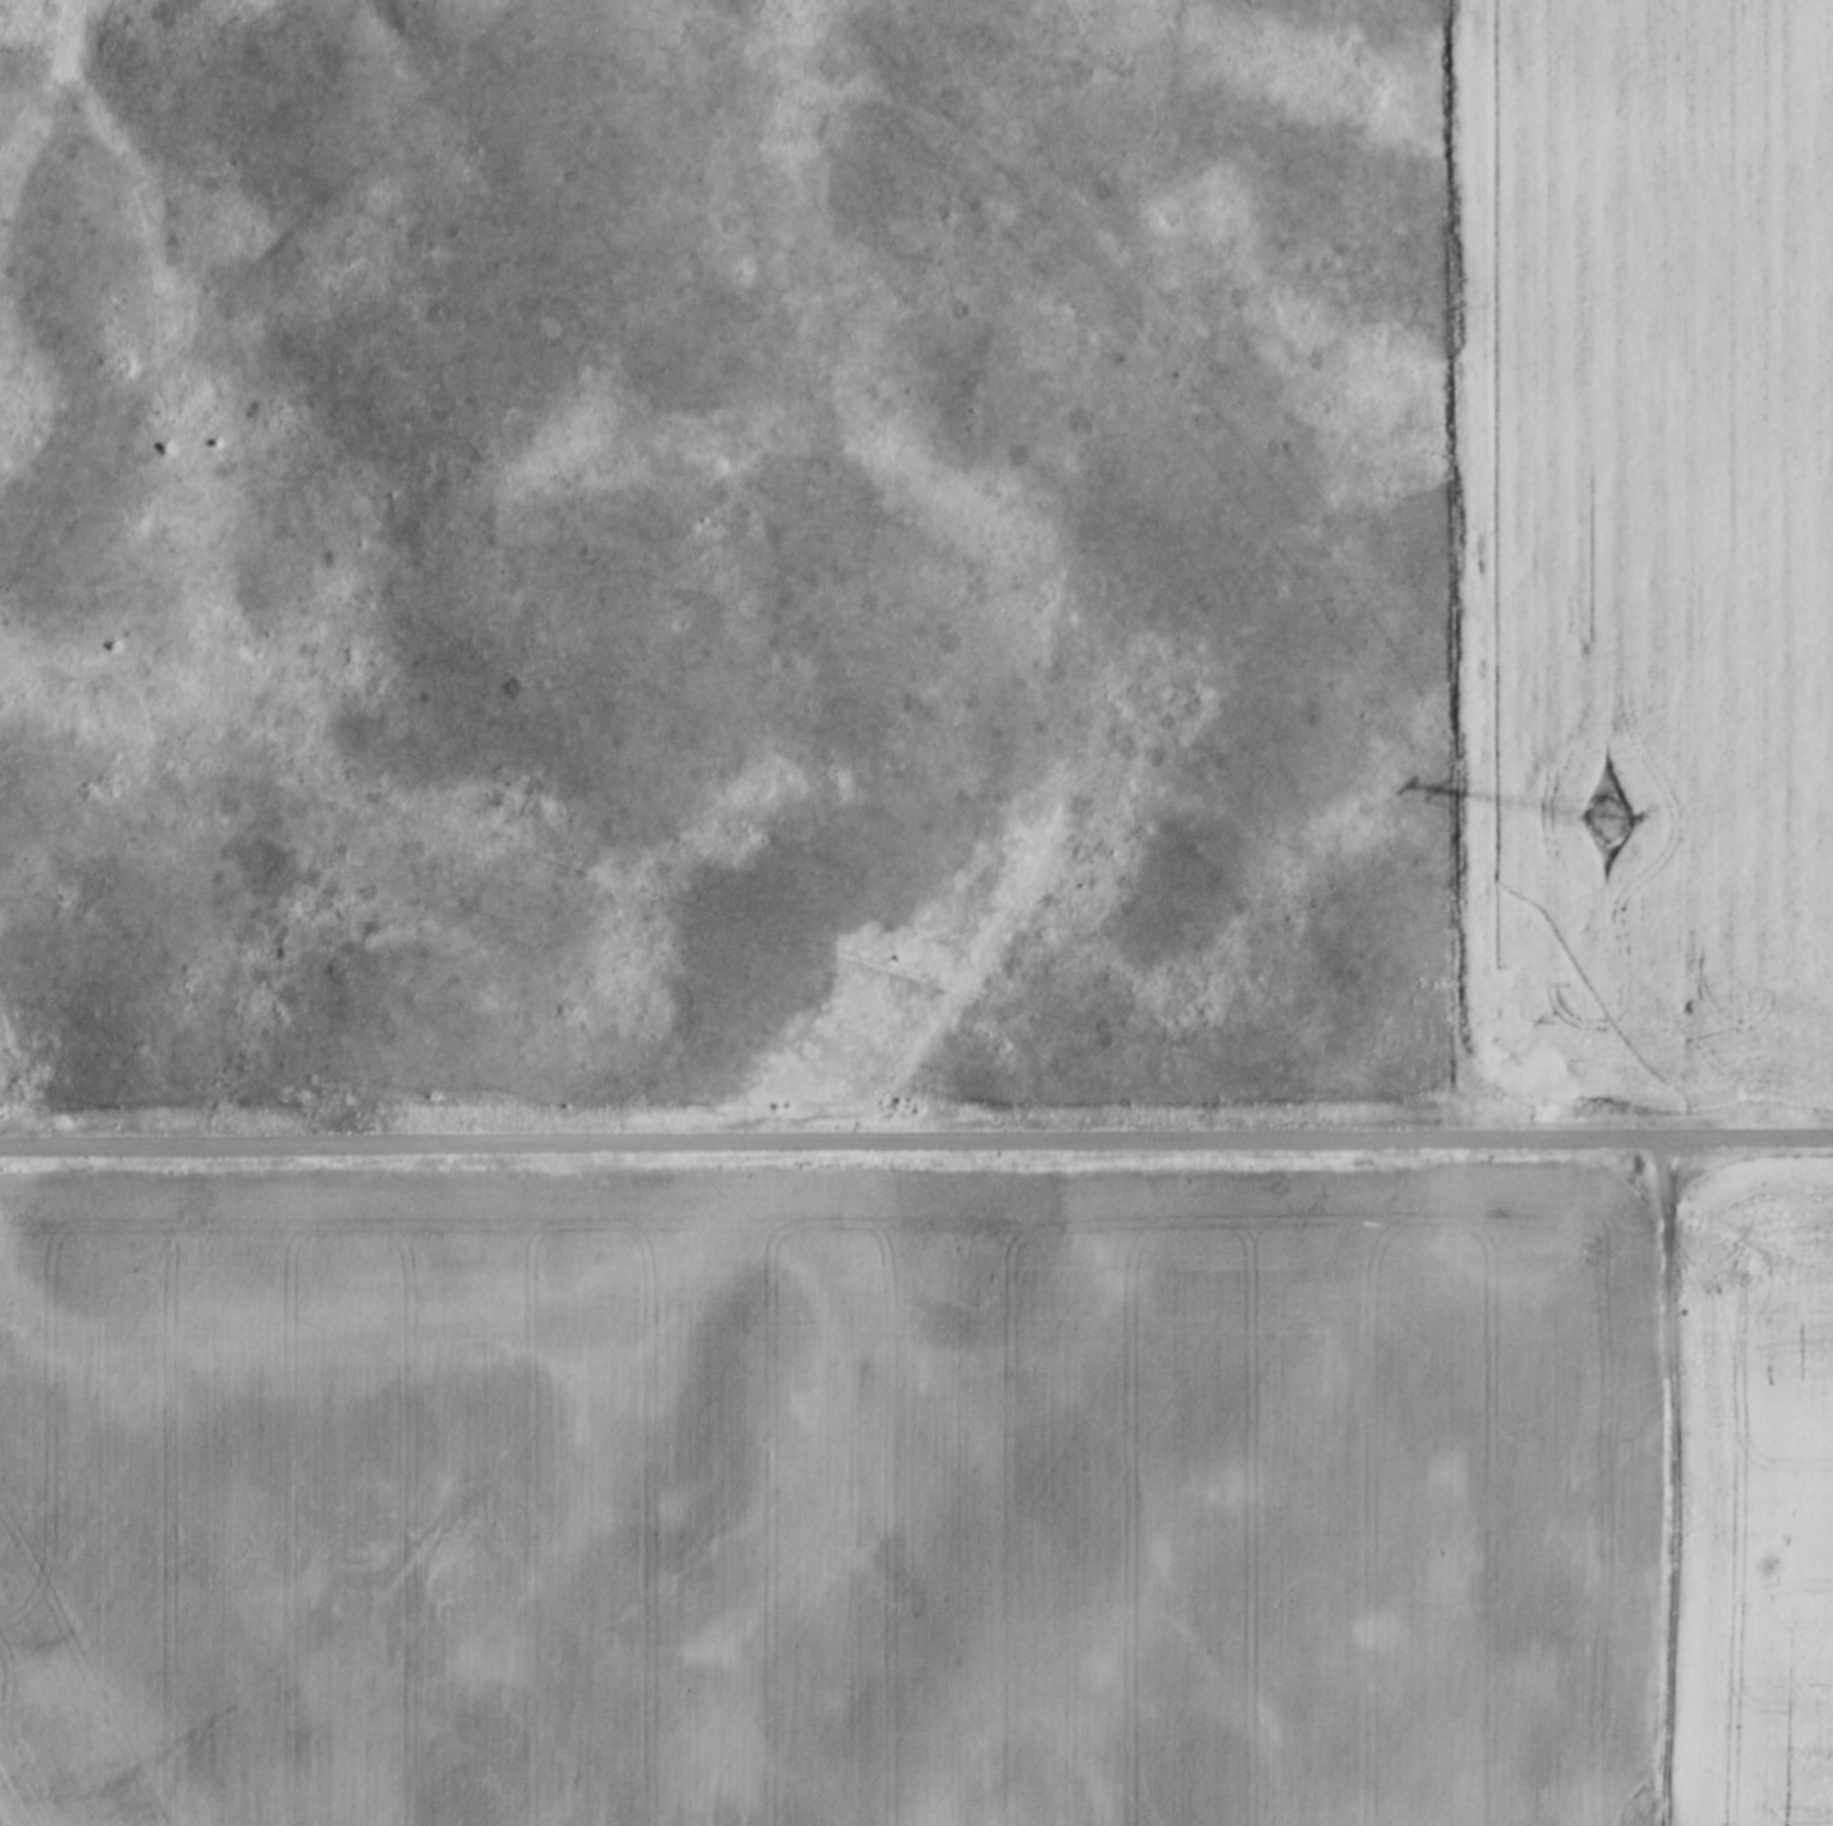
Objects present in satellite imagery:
power tower: (1608, 823)
road: (916, 1138)
road: (1658, 1481)

